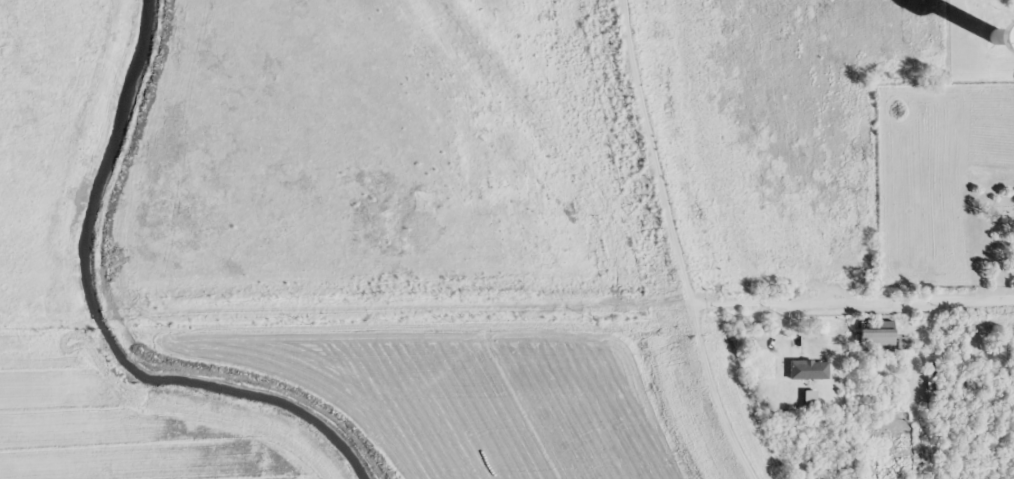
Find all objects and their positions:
building: (979, 37)
park: (992, 235)
road: (689, 243)
road: (859, 302)
park: (991, 356)
building: (808, 369)
building: (883, 397)

